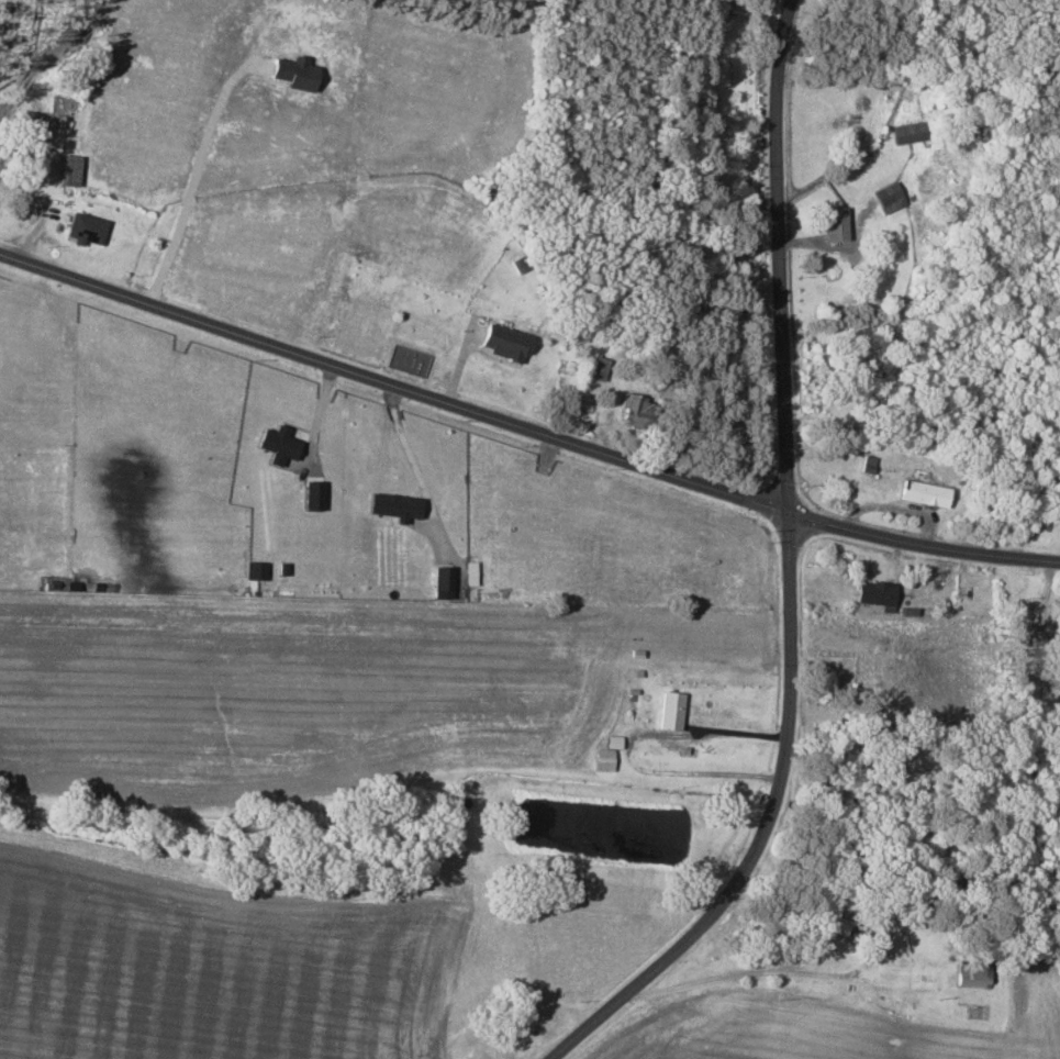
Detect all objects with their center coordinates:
building: (293, 74)
building: (907, 133)
building: (69, 170)
building: (890, 197)
building: (836, 224)
building: (87, 228)
road: (784, 257)
building: (504, 341)
building: (598, 367)
building: (634, 410)
road: (525, 426)
building: (278, 443)
building: (925, 492)
building: (393, 504)
building: (257, 570)
building: (875, 594)
building: (1055, 617)
building: (671, 710)
road: (631, 748)
building: (604, 759)
road: (763, 828)
building: (832, 917)
building: (972, 973)

